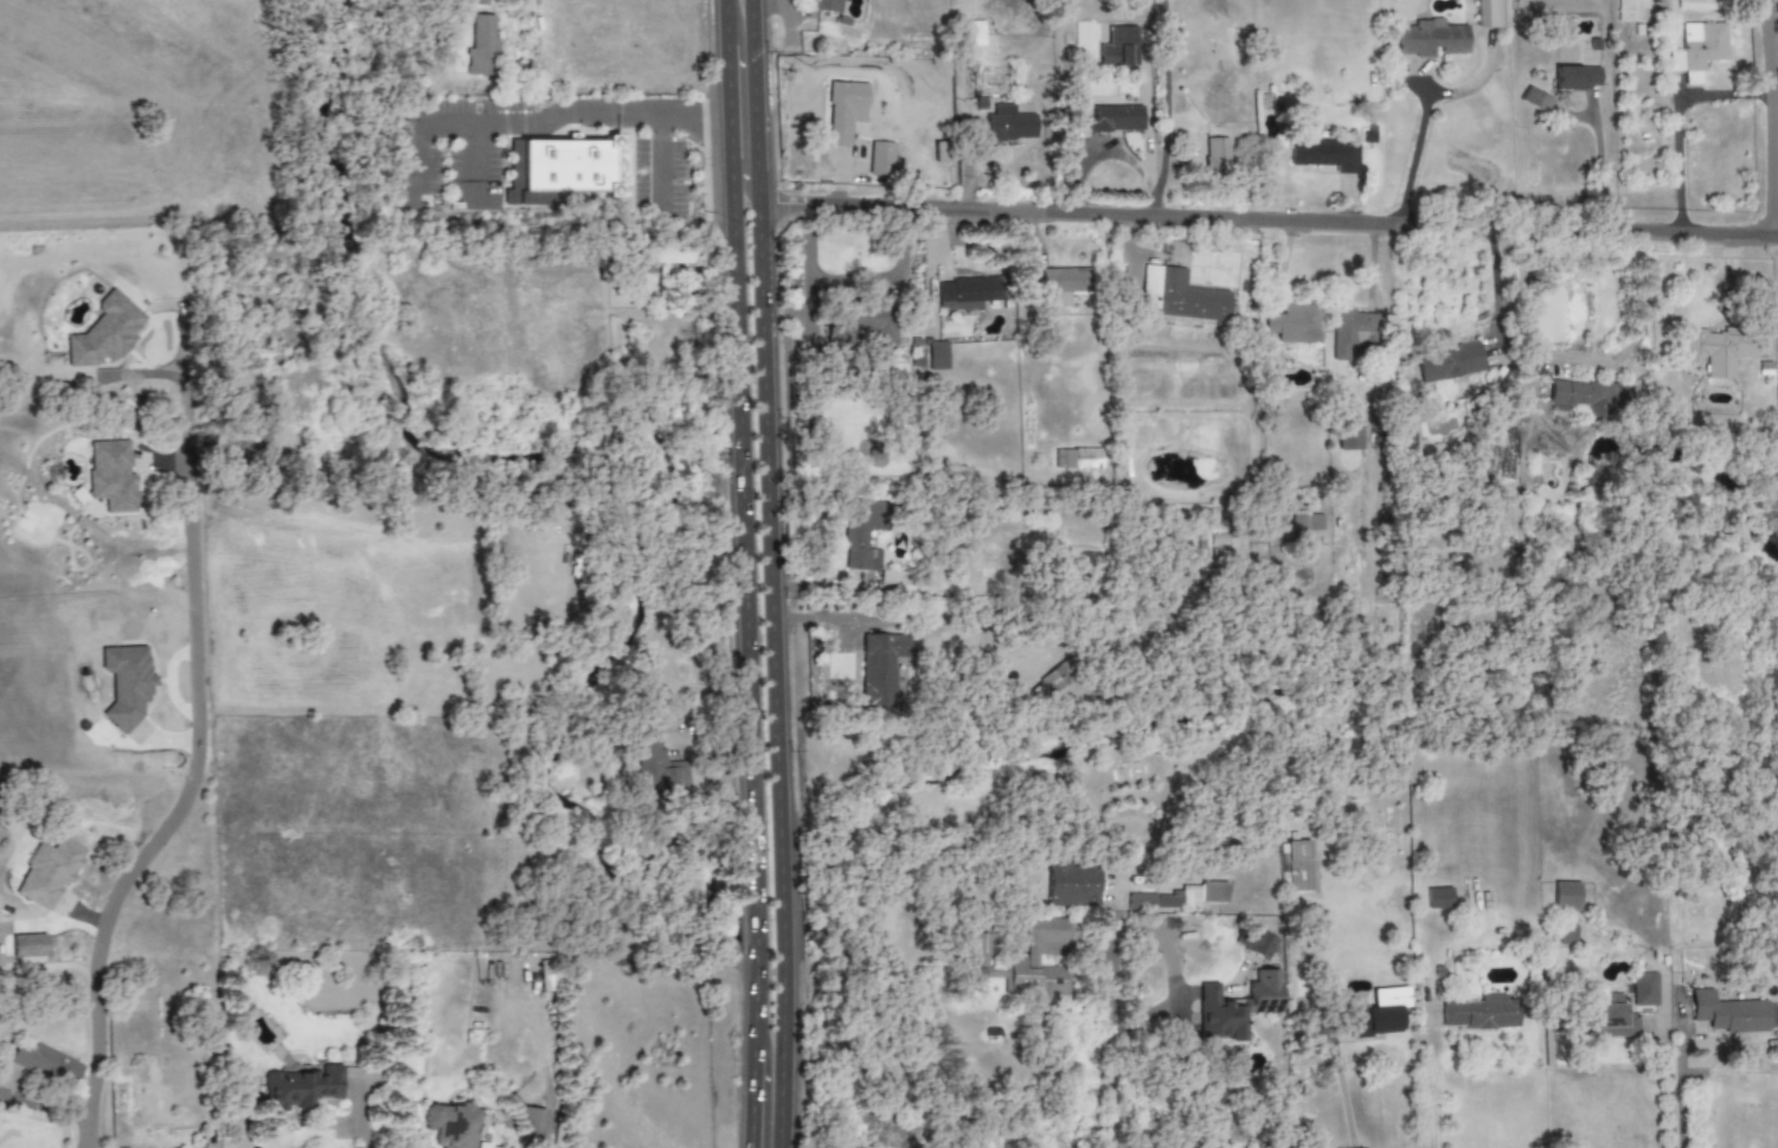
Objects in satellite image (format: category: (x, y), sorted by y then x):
road: (790, 1)
building: (826, 5)
building: (1488, 13)
road: (726, 23)
building: (974, 33)
building: (1431, 38)
building: (481, 44)
building: (1118, 46)
building: (1697, 50)
building: (1575, 78)
road: (1166, 96)
road: (728, 107)
building: (845, 111)
road: (1769, 117)
road: (537, 118)
building: (1117, 118)
road: (1677, 120)
building: (1009, 124)
road: (1111, 153)
building: (1324, 155)
building: (1215, 156)
road: (1412, 156)
road: (474, 159)
building: (558, 171)
road: (660, 171)
road: (1597, 171)
road: (736, 172)
road: (1267, 219)
road: (1372, 259)
building: (1150, 272)
road: (1497, 283)
building: (968, 294)
building: (1188, 299)
building: (1296, 325)
building: (864, 329)
building: (1352, 332)
building: (104, 333)
building: (1716, 349)
building: (935, 355)
road: (1591, 358)
building: (1449, 361)
building: (1588, 398)
building: (1348, 427)
building: (1081, 458)
building: (111, 476)
building: (861, 534)
road: (771, 573)
road: (746, 610)
building: (879, 669)
building: (1055, 679)
building: (126, 682)
road: (194, 757)
building: (659, 769)
building: (49, 872)
building: (1072, 885)
building: (1202, 894)
building: (1565, 897)
building: (1438, 898)
building: (1141, 902)
building: (1168, 902)
building: (1566, 935)
building: (1256, 942)
building: (1021, 958)
building: (1237, 1006)
building: (1623, 1008)
building: (1481, 1013)
building: (1728, 1013)
building: (1378, 1014)
road: (1115, 1039)
building: (45, 1065)
road: (1678, 1083)
road: (1667, 1084)
building: (303, 1088)
road: (1430, 1097)
road: (1343, 1099)
road: (752, 1101)
road: (361, 1117)
building: (450, 1124)
building: (529, 1127)
building: (480, 1146)

